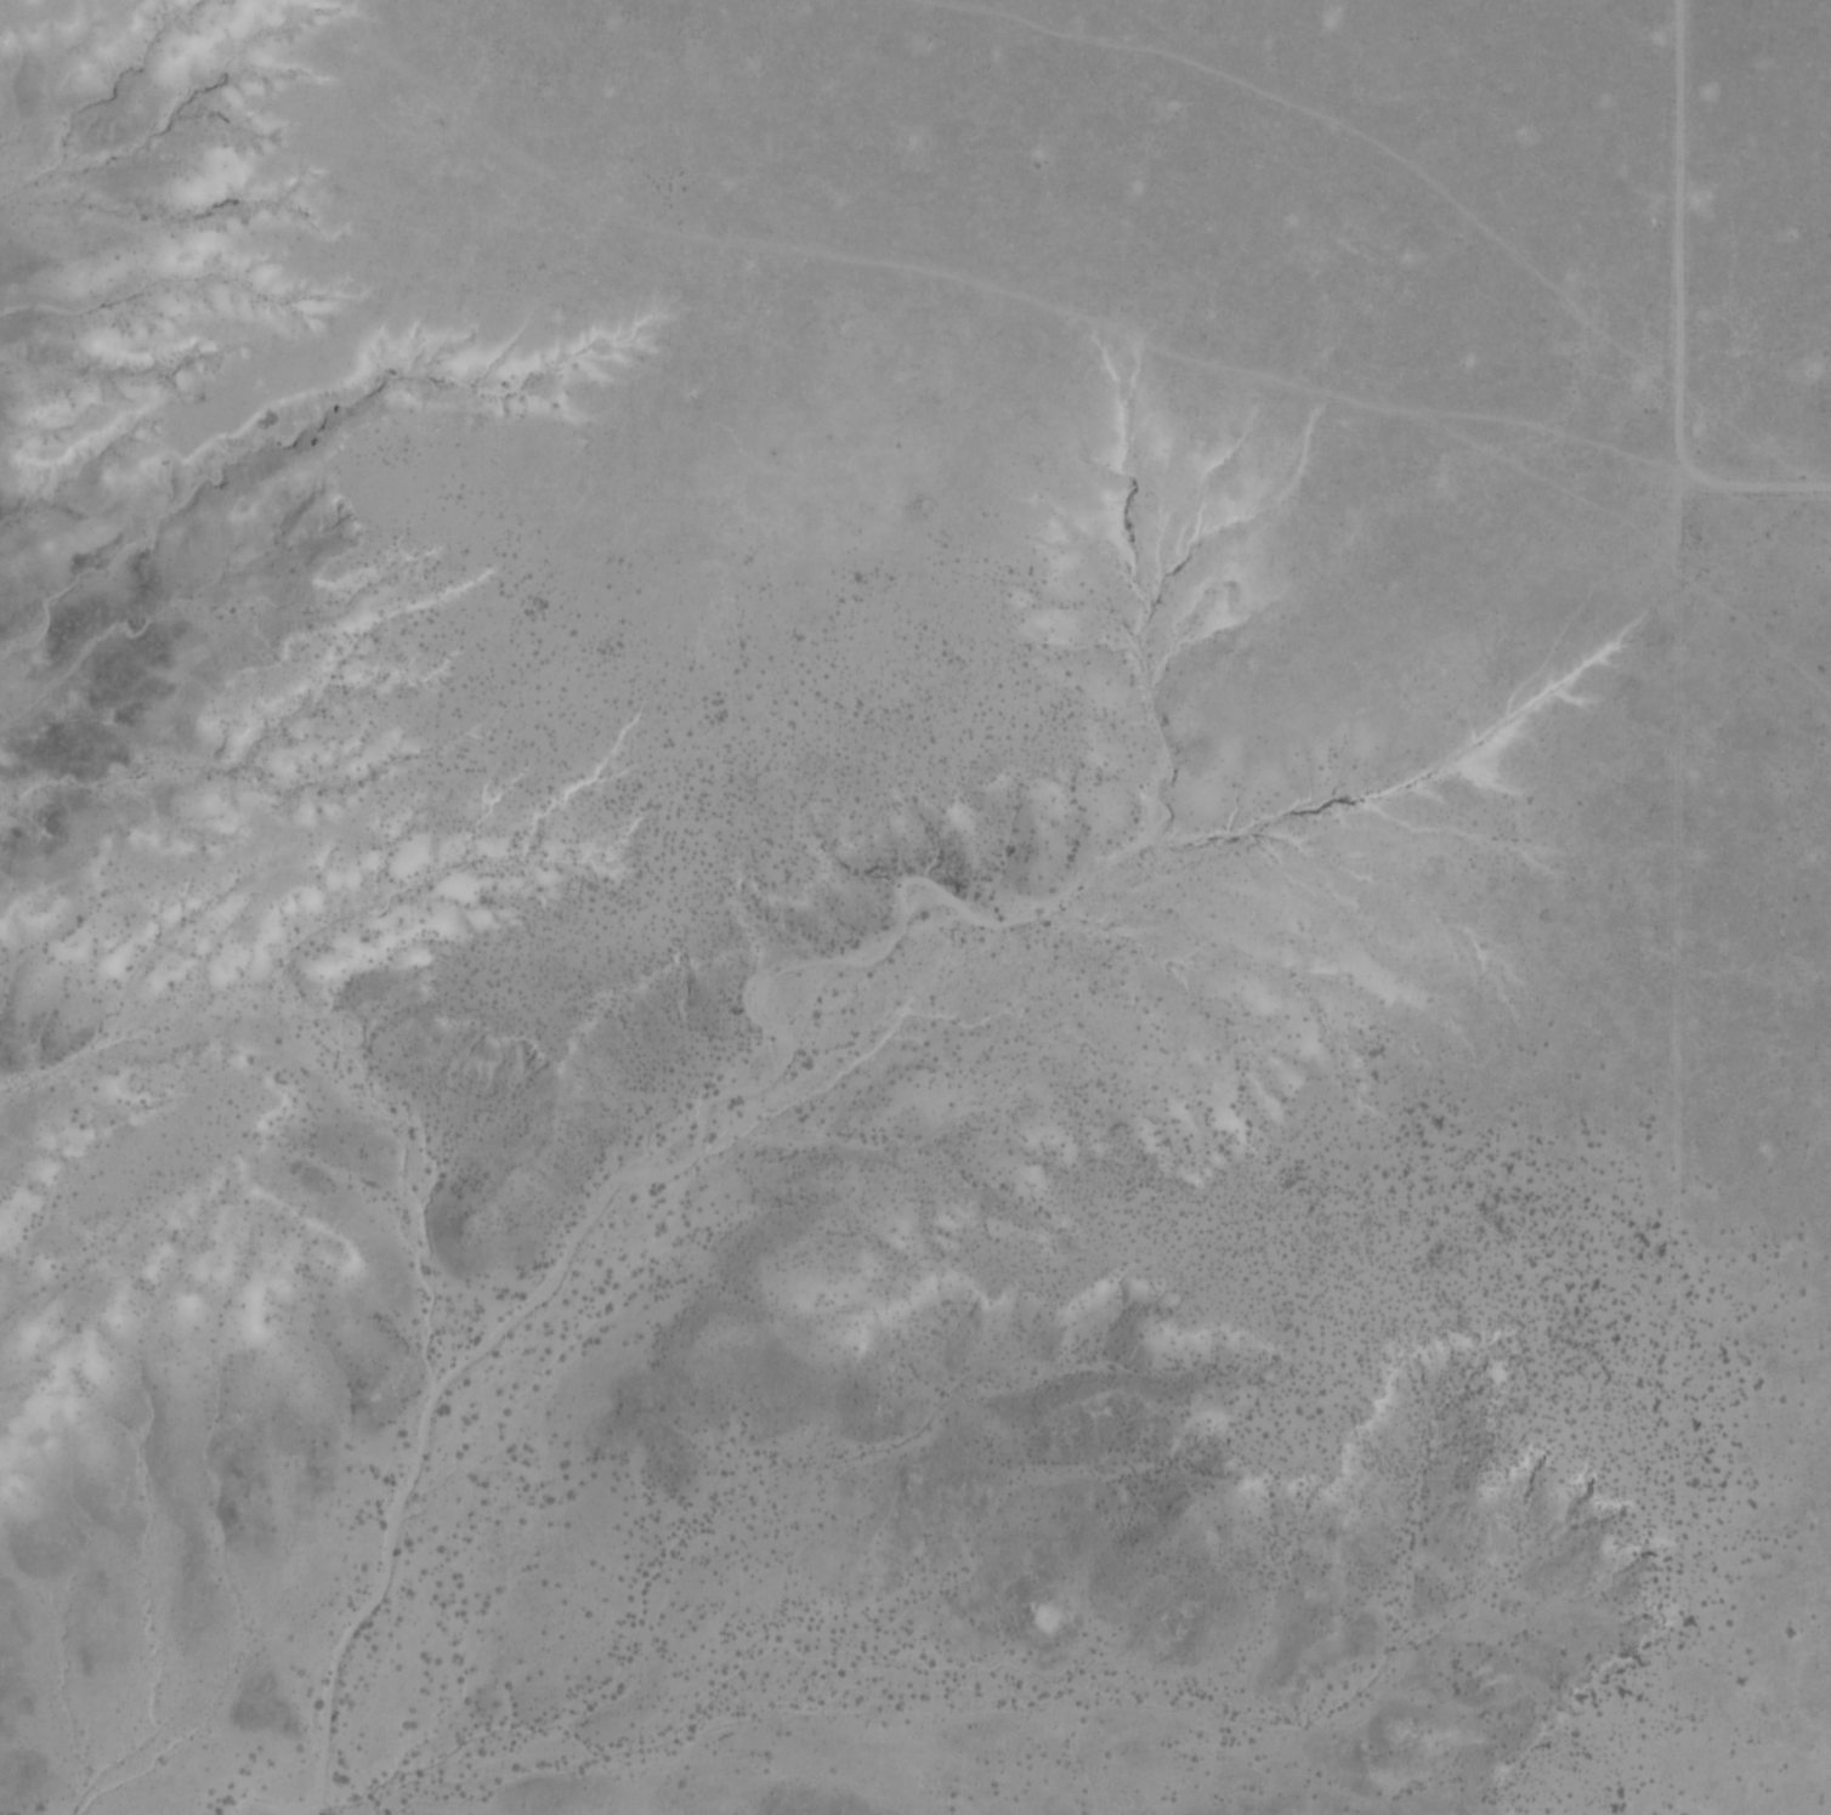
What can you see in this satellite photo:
road: (1764, 495)
road: (1696, 907)

